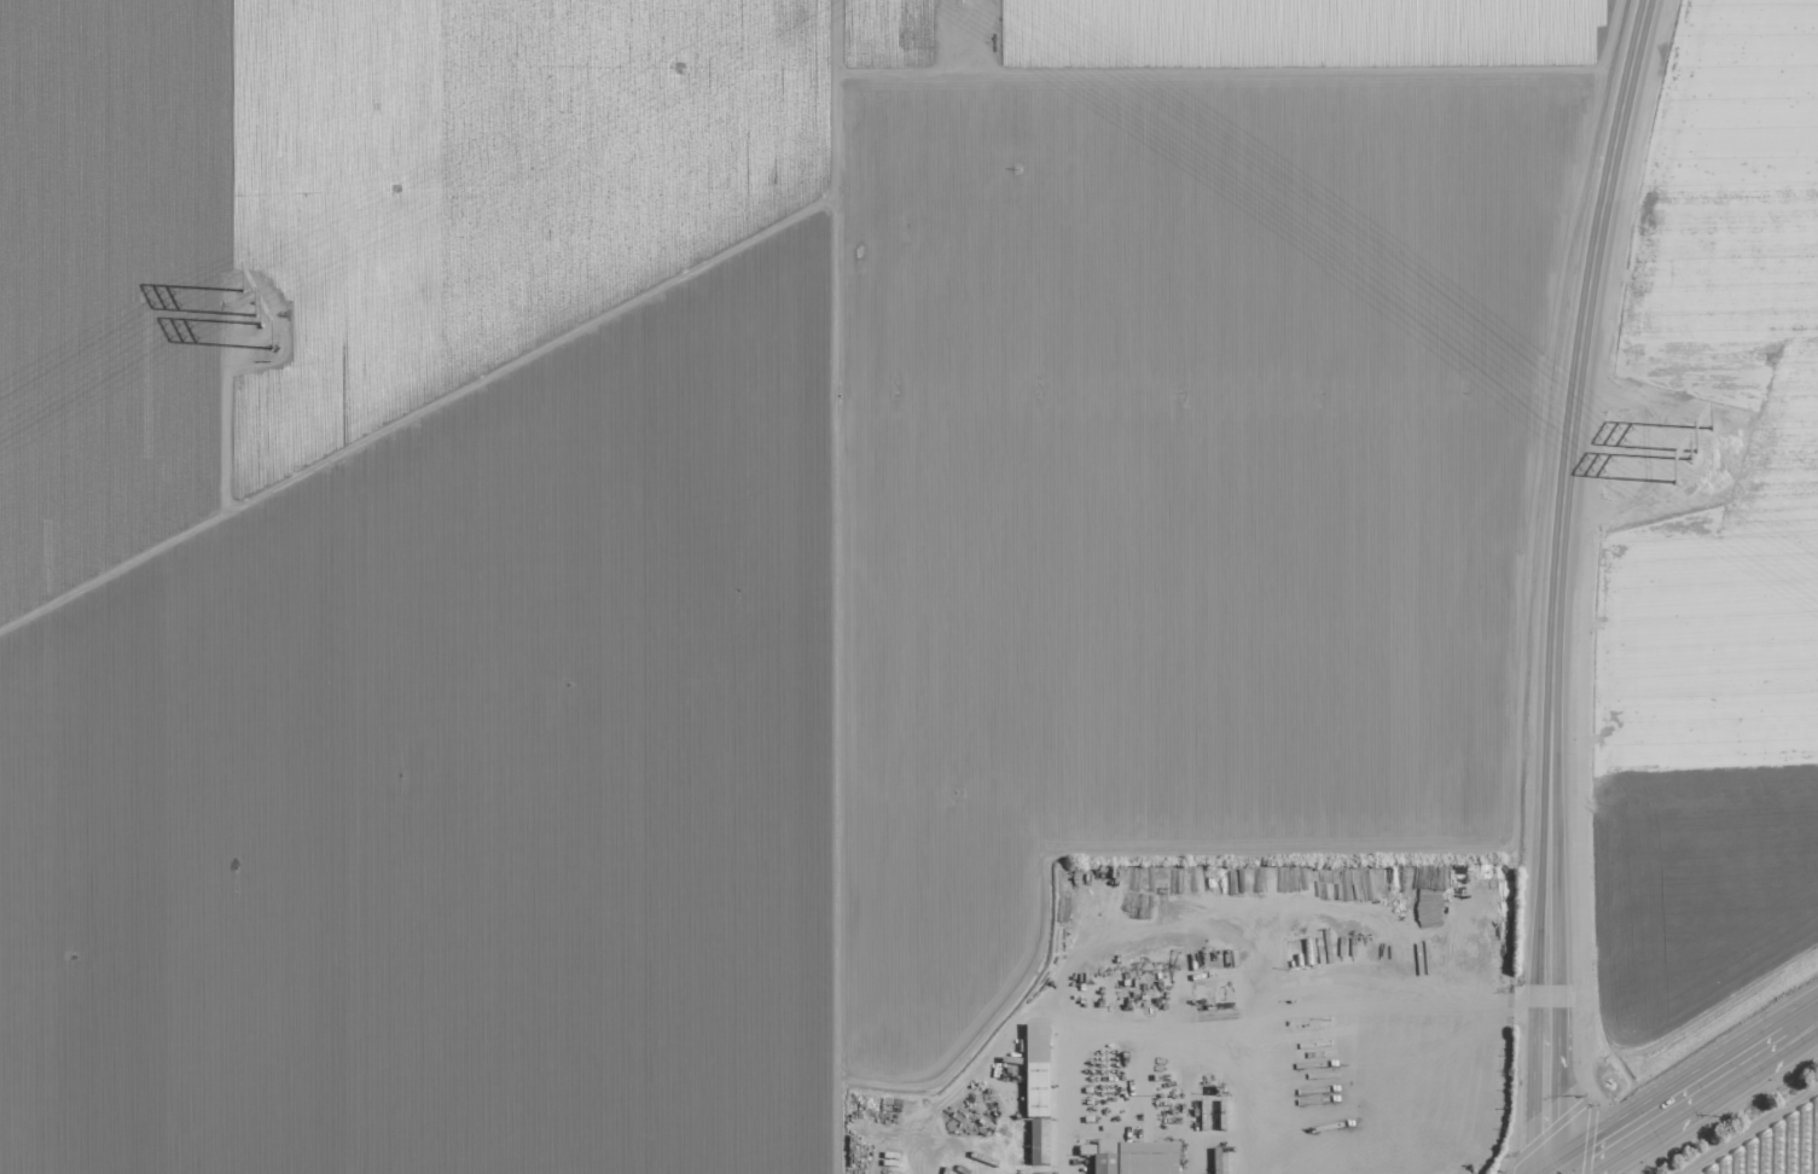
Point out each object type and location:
power tower: (250, 295)
power tower: (268, 329)
power tower: (1714, 429)
power tower: (1691, 460)
crop: (727, 531)
crop: (1708, 548)
road: (1562, 583)
road: (834, 586)
building: (1035, 1070)
road: (1430, 1073)
road: (1691, 1093)
crop: (1765, 1139)
building: (1038, 1141)
building: (1036, 1173)

